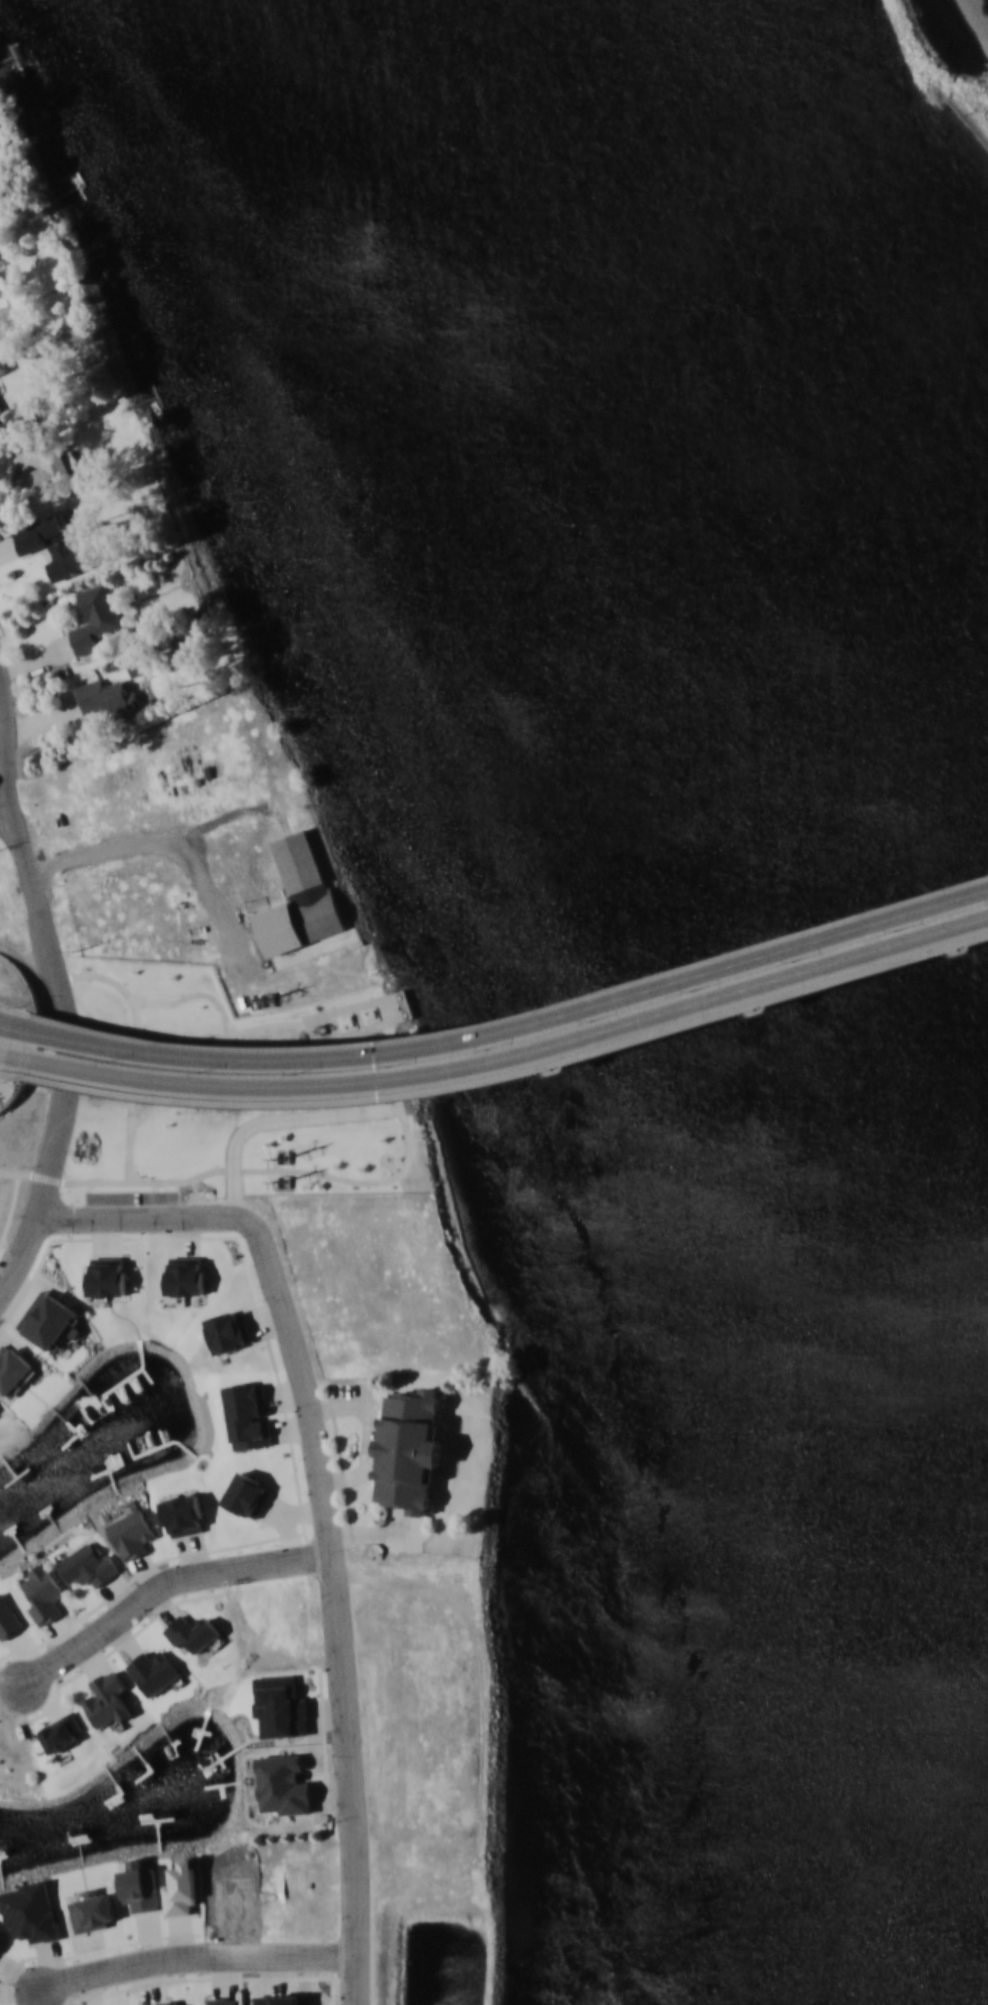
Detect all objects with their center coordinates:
park: (946, 64)
building: (4, 365)
building: (1, 411)
building: (38, 466)
building: (61, 546)
building: (96, 616)
building: (108, 698)
road: (9, 746)
road: (5, 747)
road: (6, 822)
road: (140, 834)
building: (300, 896)
road: (966, 901)
road: (975, 928)
road: (42, 929)
road: (979, 947)
power tower: (79, 951)
river: (647, 978)
road: (691, 984)
power tower: (270, 999)
road: (9, 1027)
road: (9, 1029)
road: (6, 1055)
road: (226, 1058)
road: (494, 1061)
road: (4, 1071)
road: (496, 1079)
power tower: (287, 1158)
road: (44, 1172)
road: (22, 1177)
power tower: (289, 1182)
building: (185, 1275)
building: (106, 1278)
building: (229, 1330)
building: (13, 1367)
building: (248, 1414)
road: (369, 1433)
building: (411, 1448)
building: (248, 1494)
road: (325, 1499)
building: (89, 1565)
road: (161, 1588)
building: (45, 1593)
building: (9, 1623)
building: (62, 1732)
building: (284, 1784)
road: (194, 1958)
building: (164, 2003)

